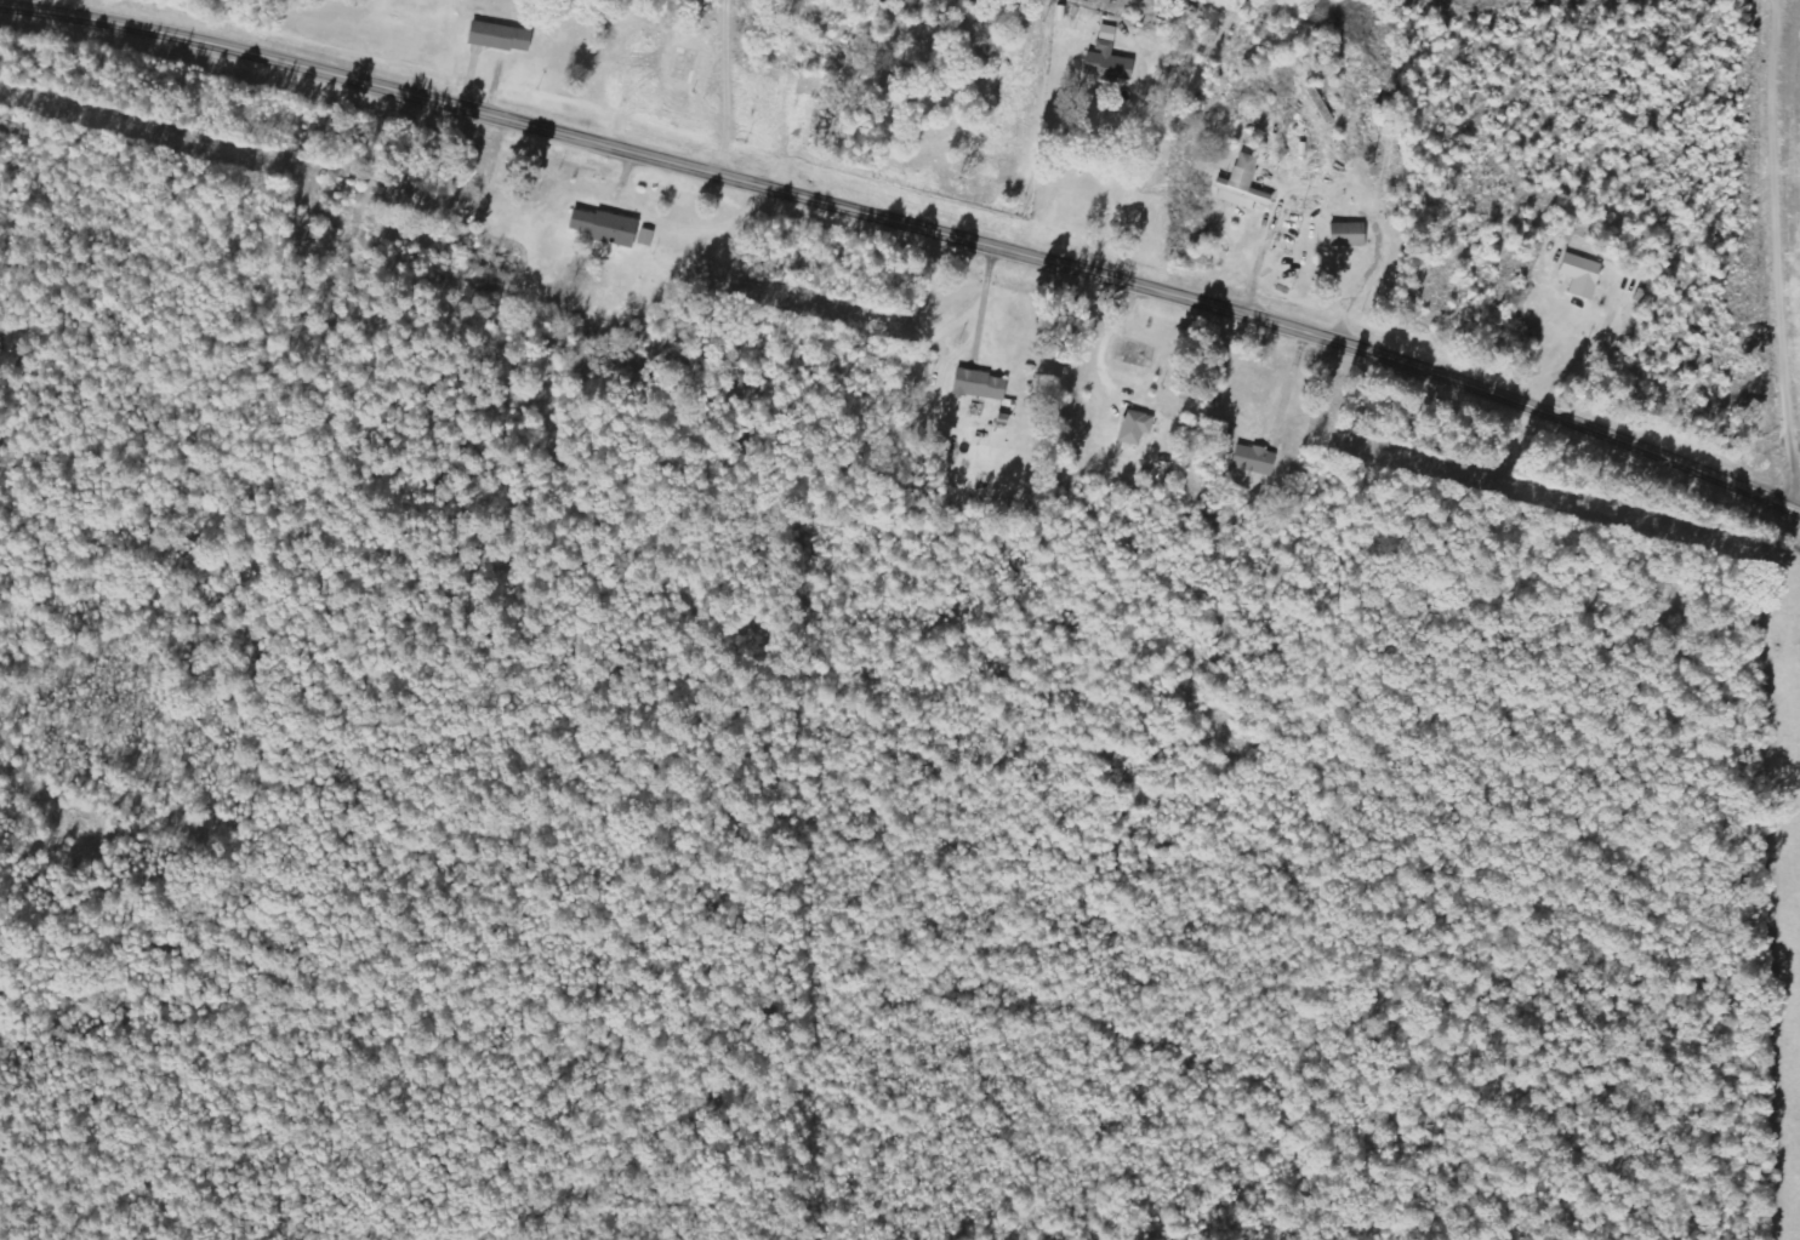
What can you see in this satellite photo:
building: (496, 36)
building: (1104, 59)
building: (1238, 184)
road: (911, 222)
building: (599, 227)
building: (1344, 235)
building: (1578, 275)
building: (976, 384)
building: (1132, 427)
building: (1251, 459)

